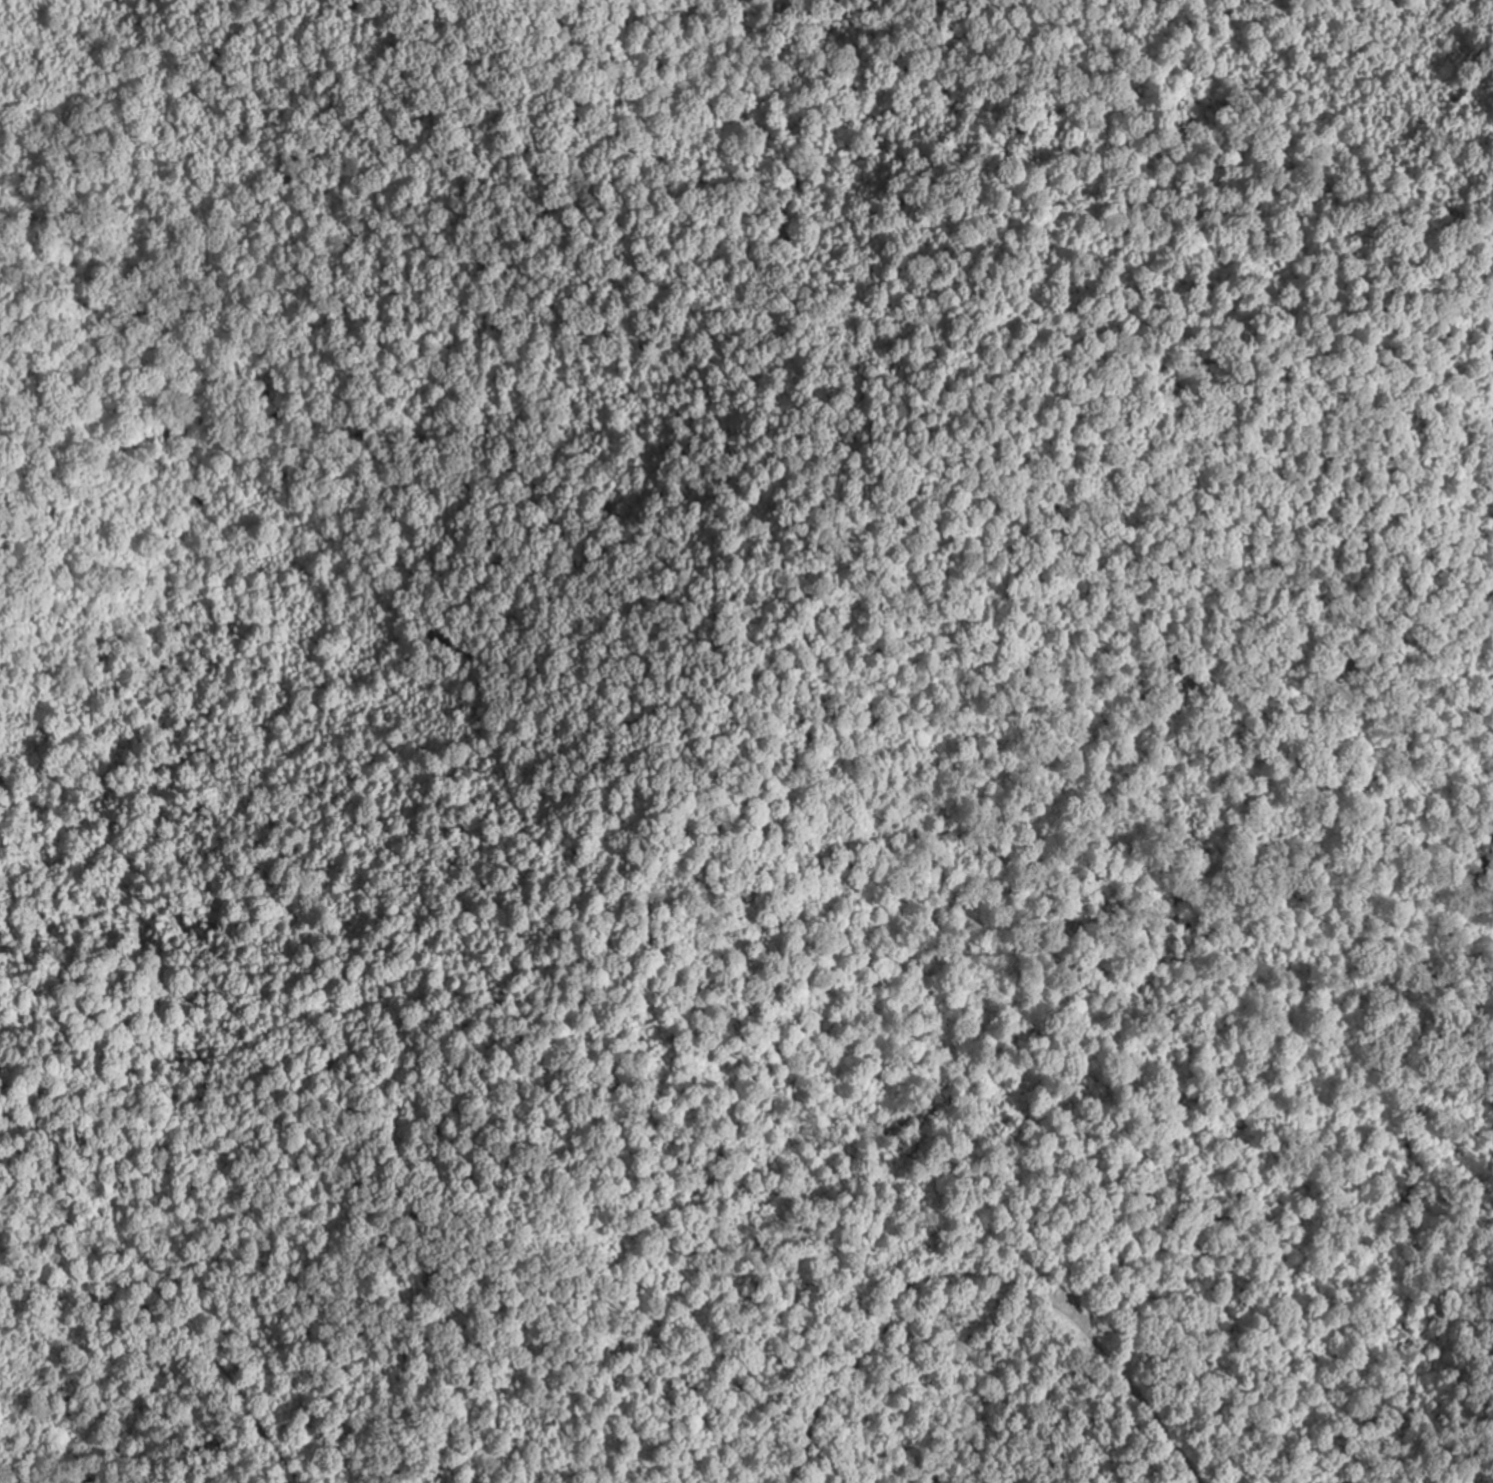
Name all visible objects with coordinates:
road: (985, 1280)
road: (181, 1331)
road: (1150, 1442)

